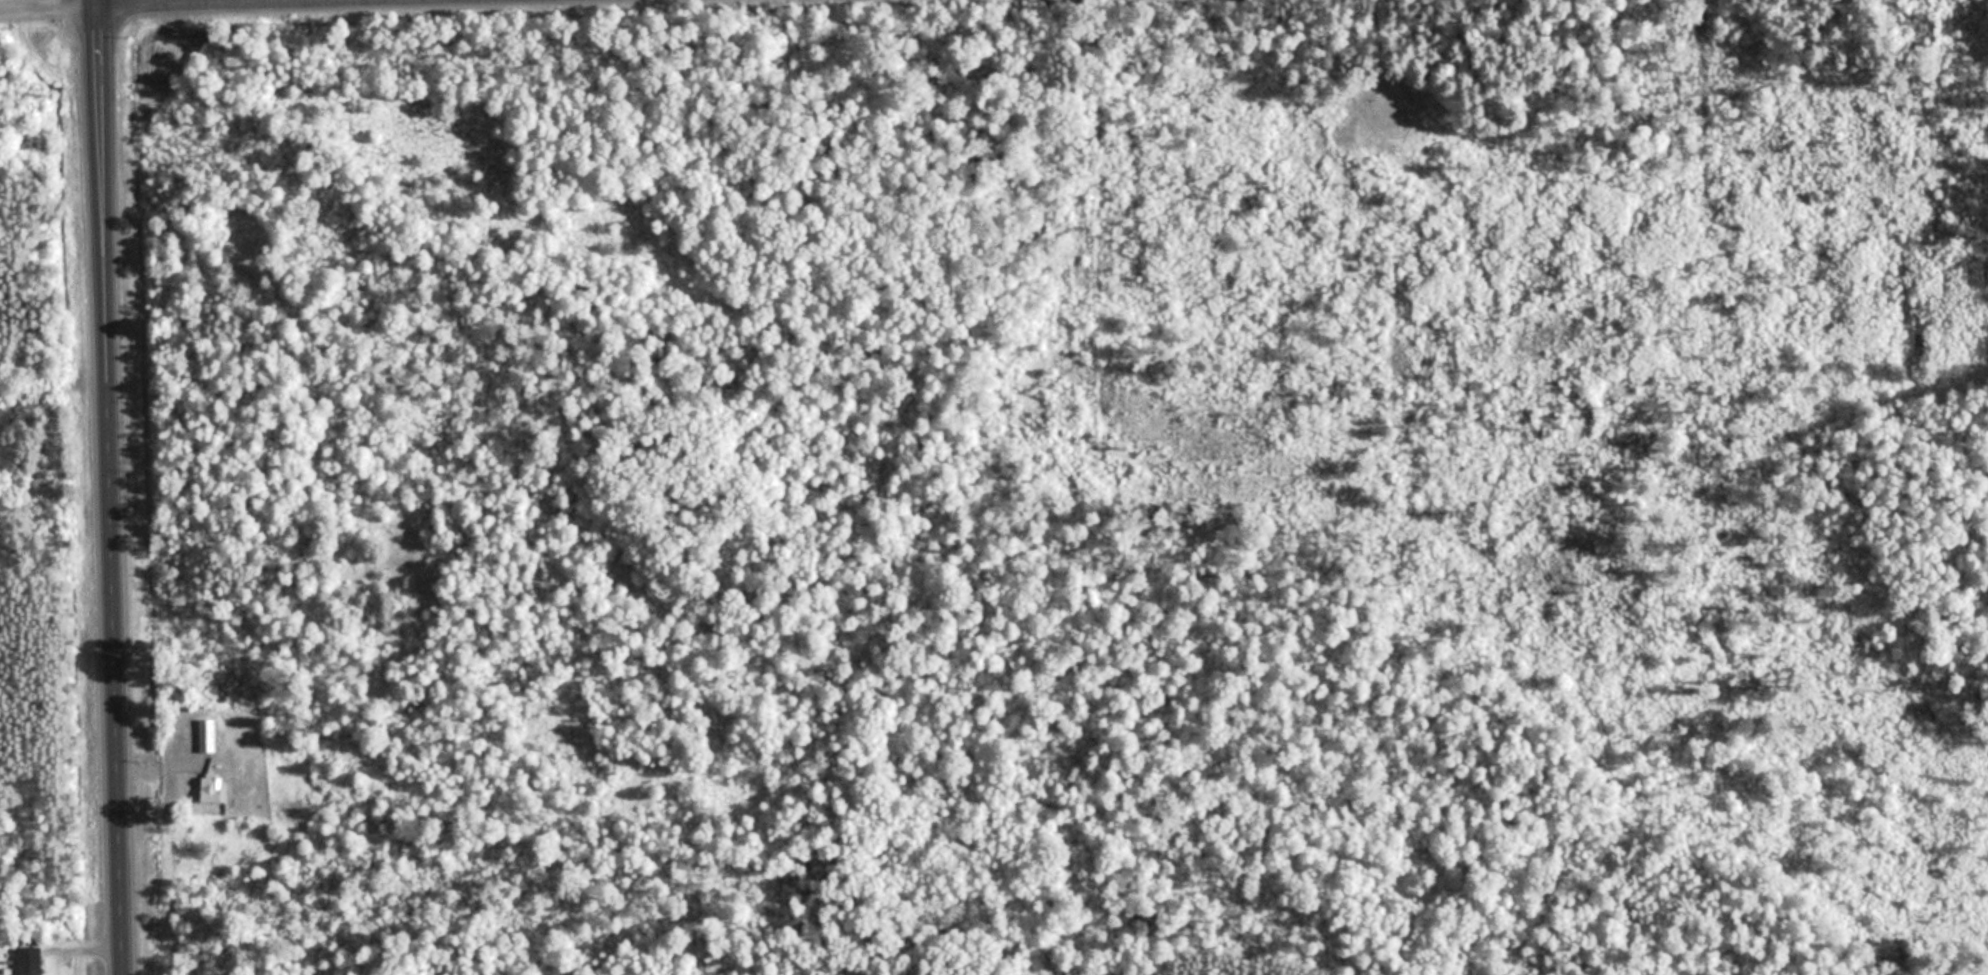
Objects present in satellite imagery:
road: (317, 6)
road: (50, 14)
park: (1060, 482)
road: (113, 487)
building: (207, 735)
building: (213, 789)
road: (88, 949)
building: (29, 961)

